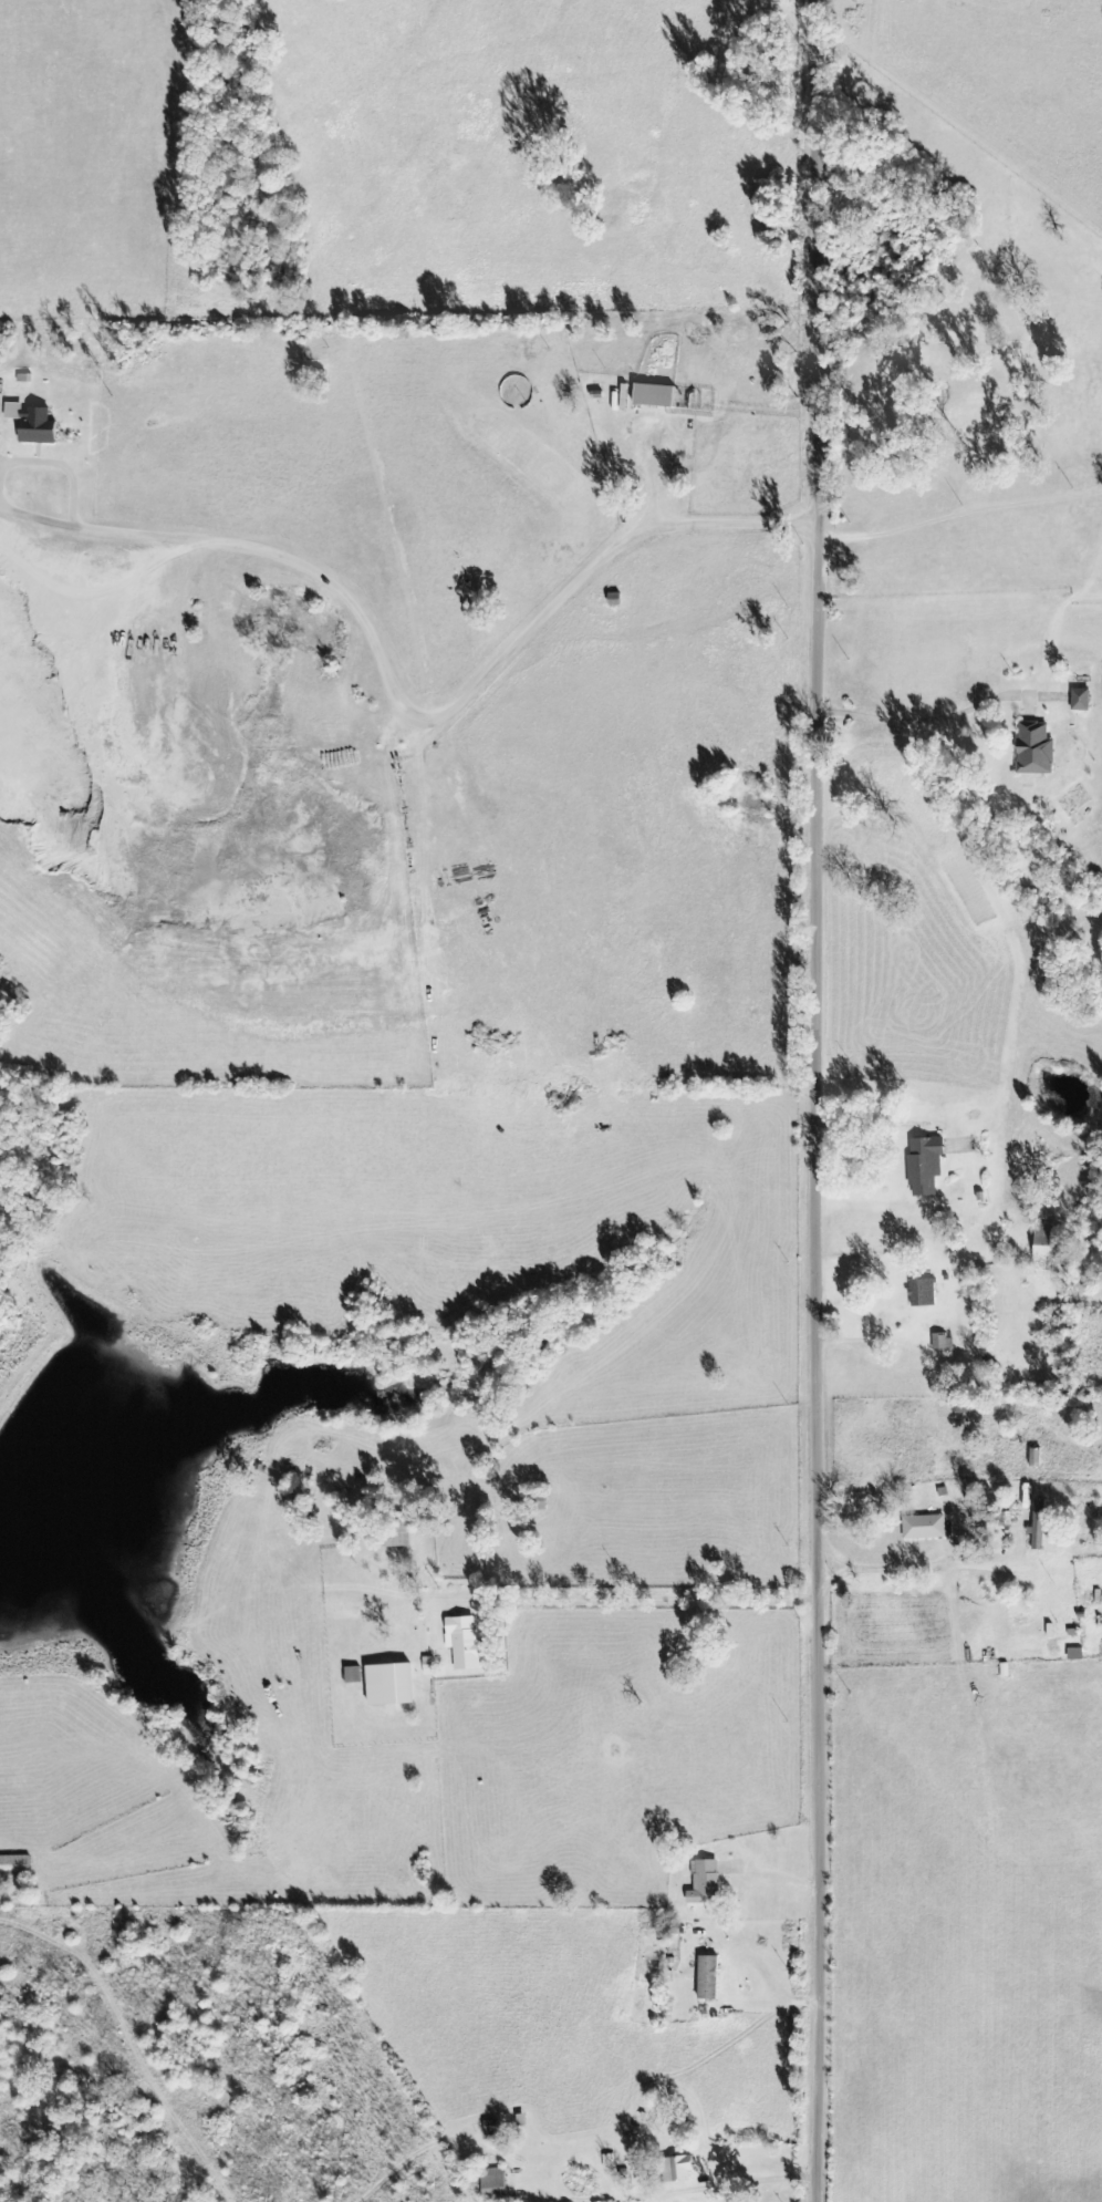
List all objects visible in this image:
building: (657, 396)
building: (41, 427)
building: (1082, 701)
building: (1037, 751)
road: (825, 1100)
building: (927, 1166)
building: (1050, 1244)
building: (925, 1293)
building: (1041, 1524)
building: (926, 1528)
building: (465, 1642)
building: (430, 1666)
building: (393, 1685)
road: (773, 1875)
building: (707, 1883)
building: (710, 1978)
road: (728, 1984)
building: (677, 2170)

